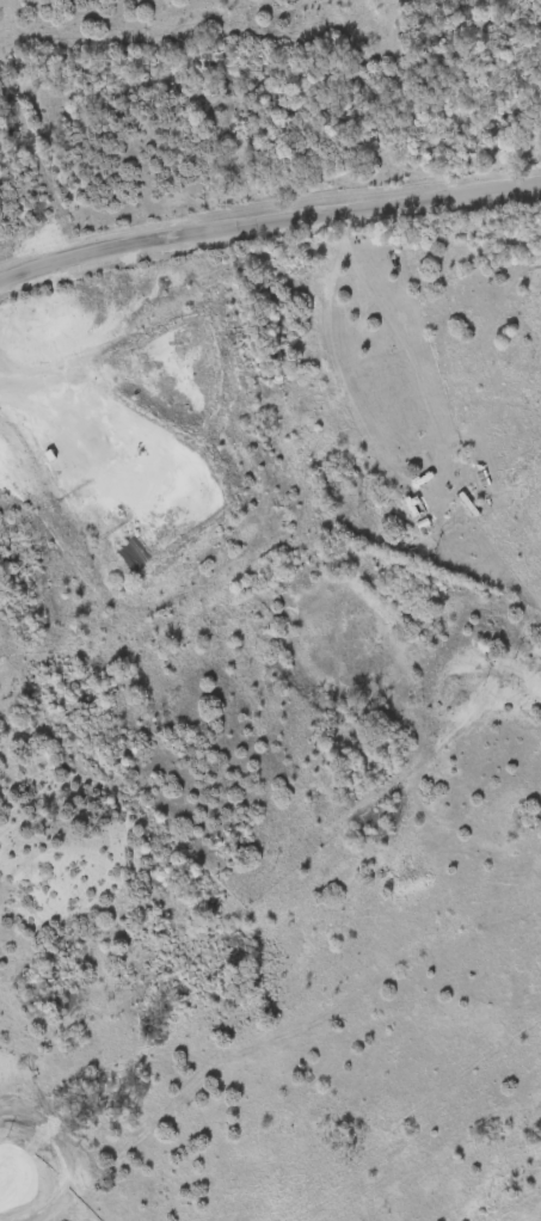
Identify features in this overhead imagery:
road: (269, 219)
road: (5, 1188)

